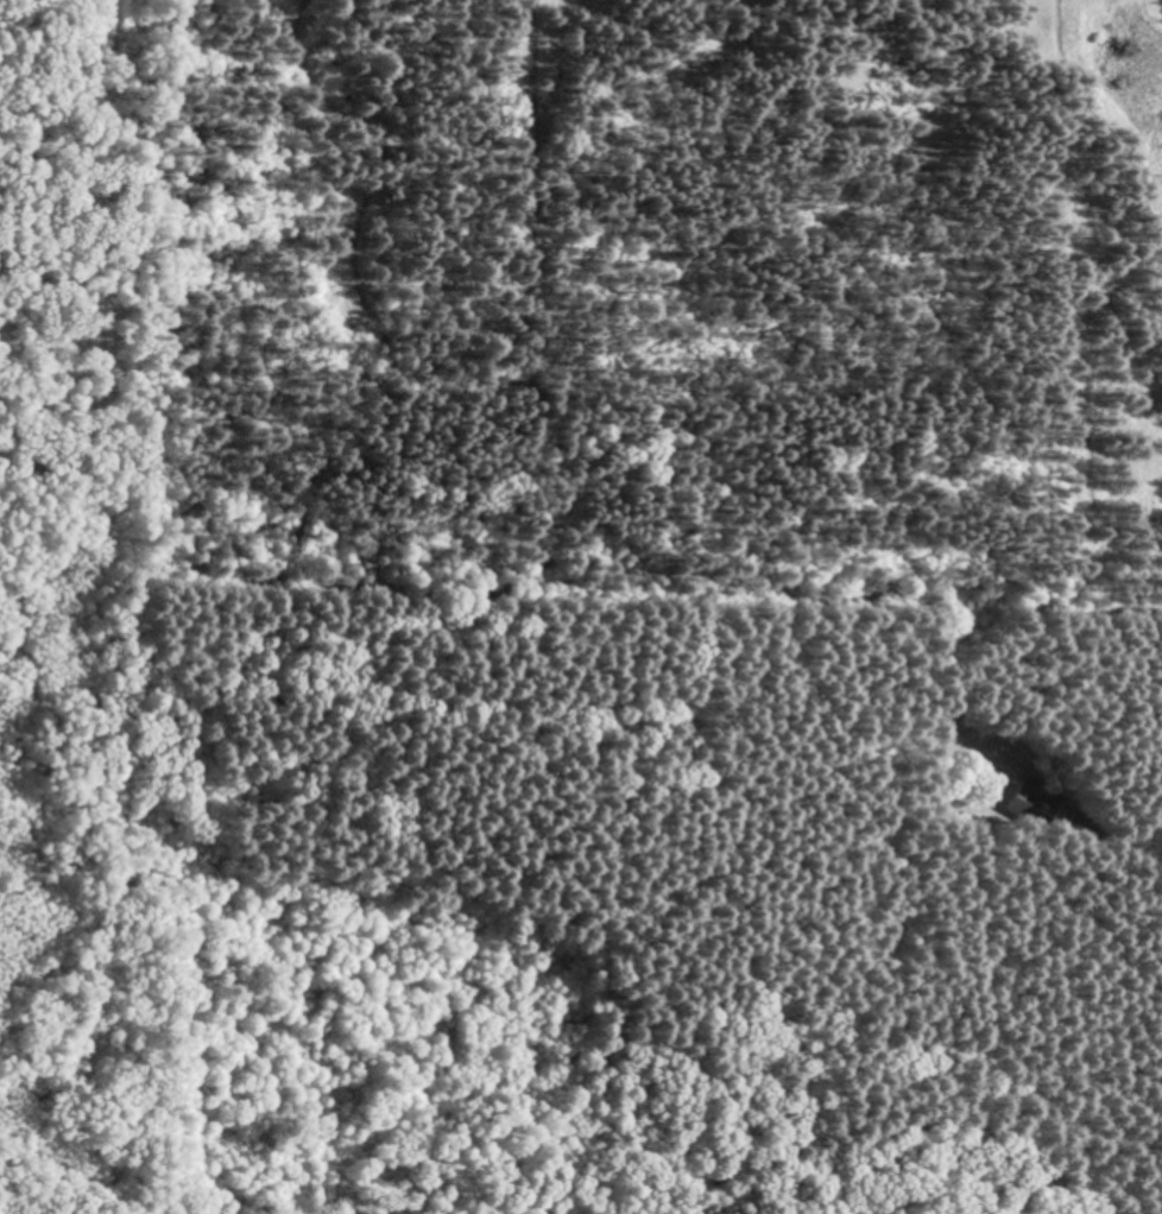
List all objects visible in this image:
building: (1025, 807)

